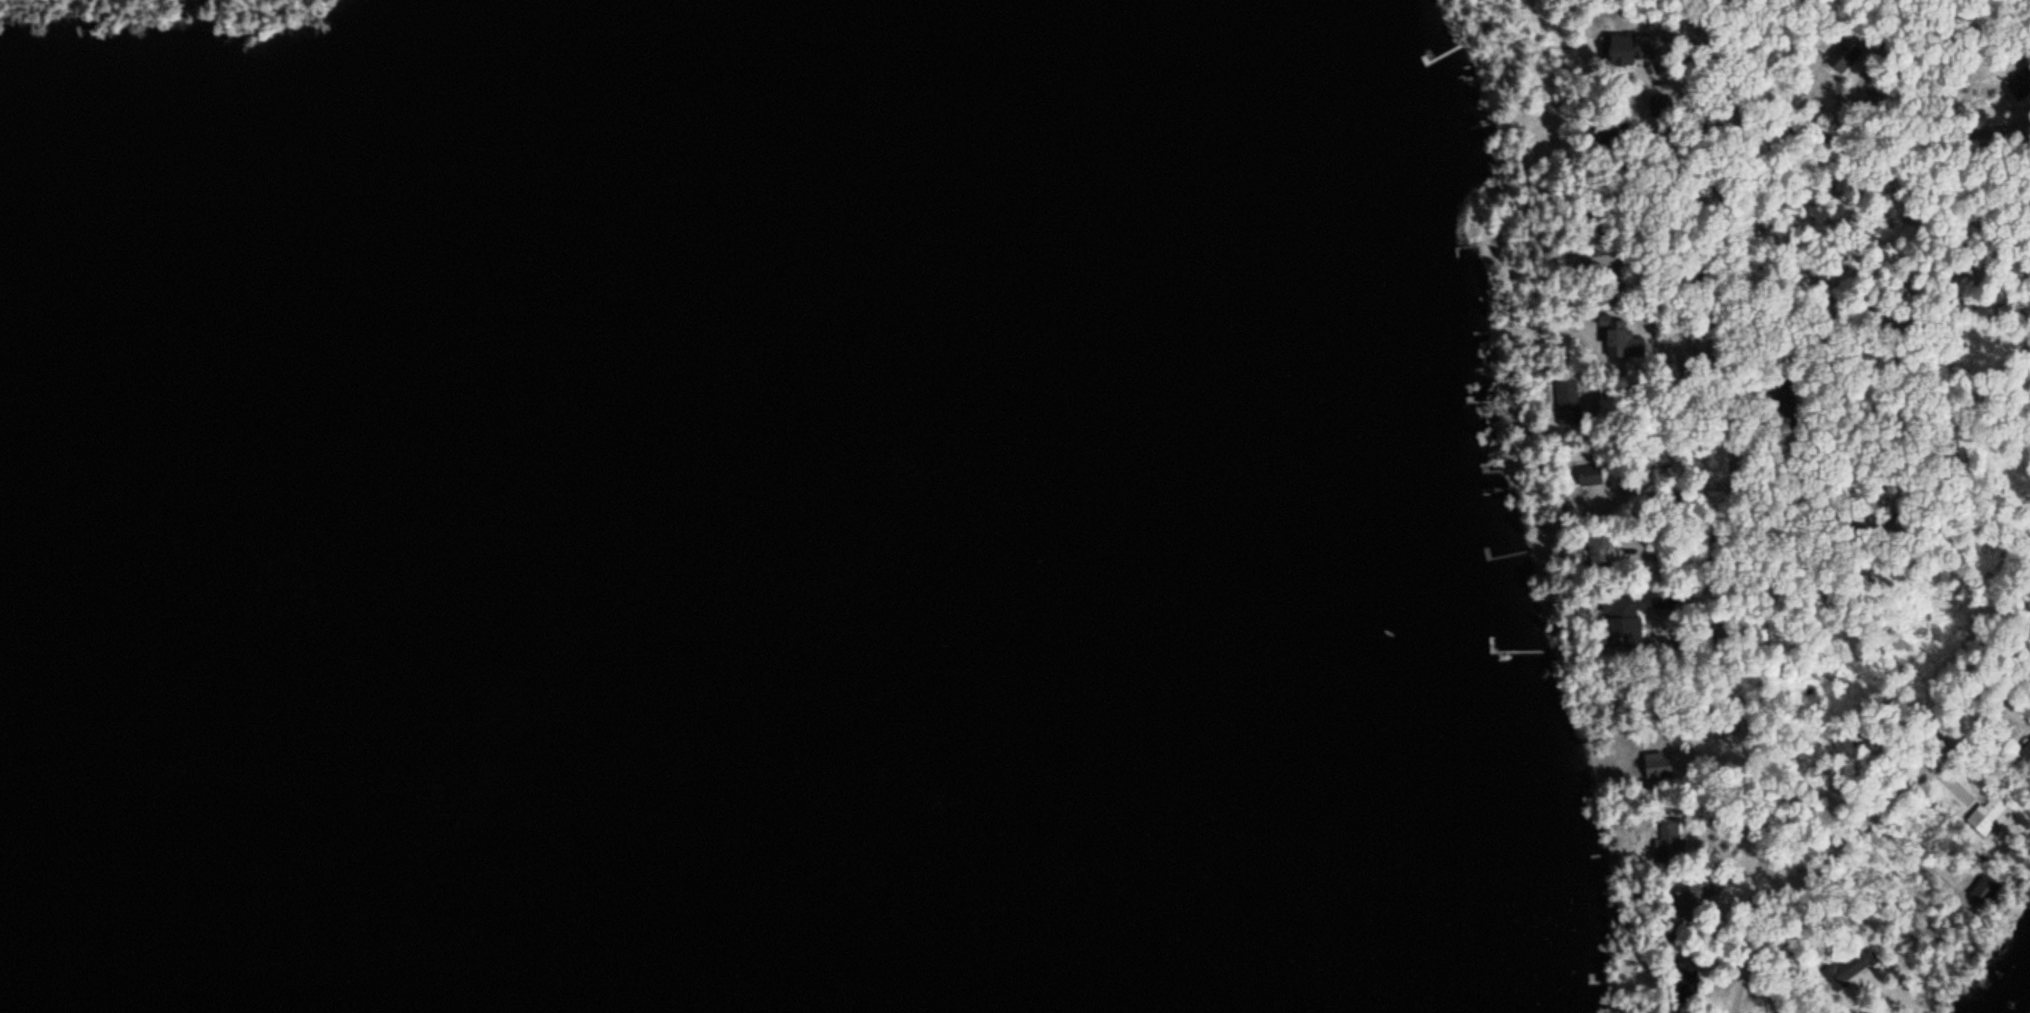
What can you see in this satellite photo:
road: (1725, 534)
road: (1917, 752)
building: (1987, 816)
road: (1762, 941)

